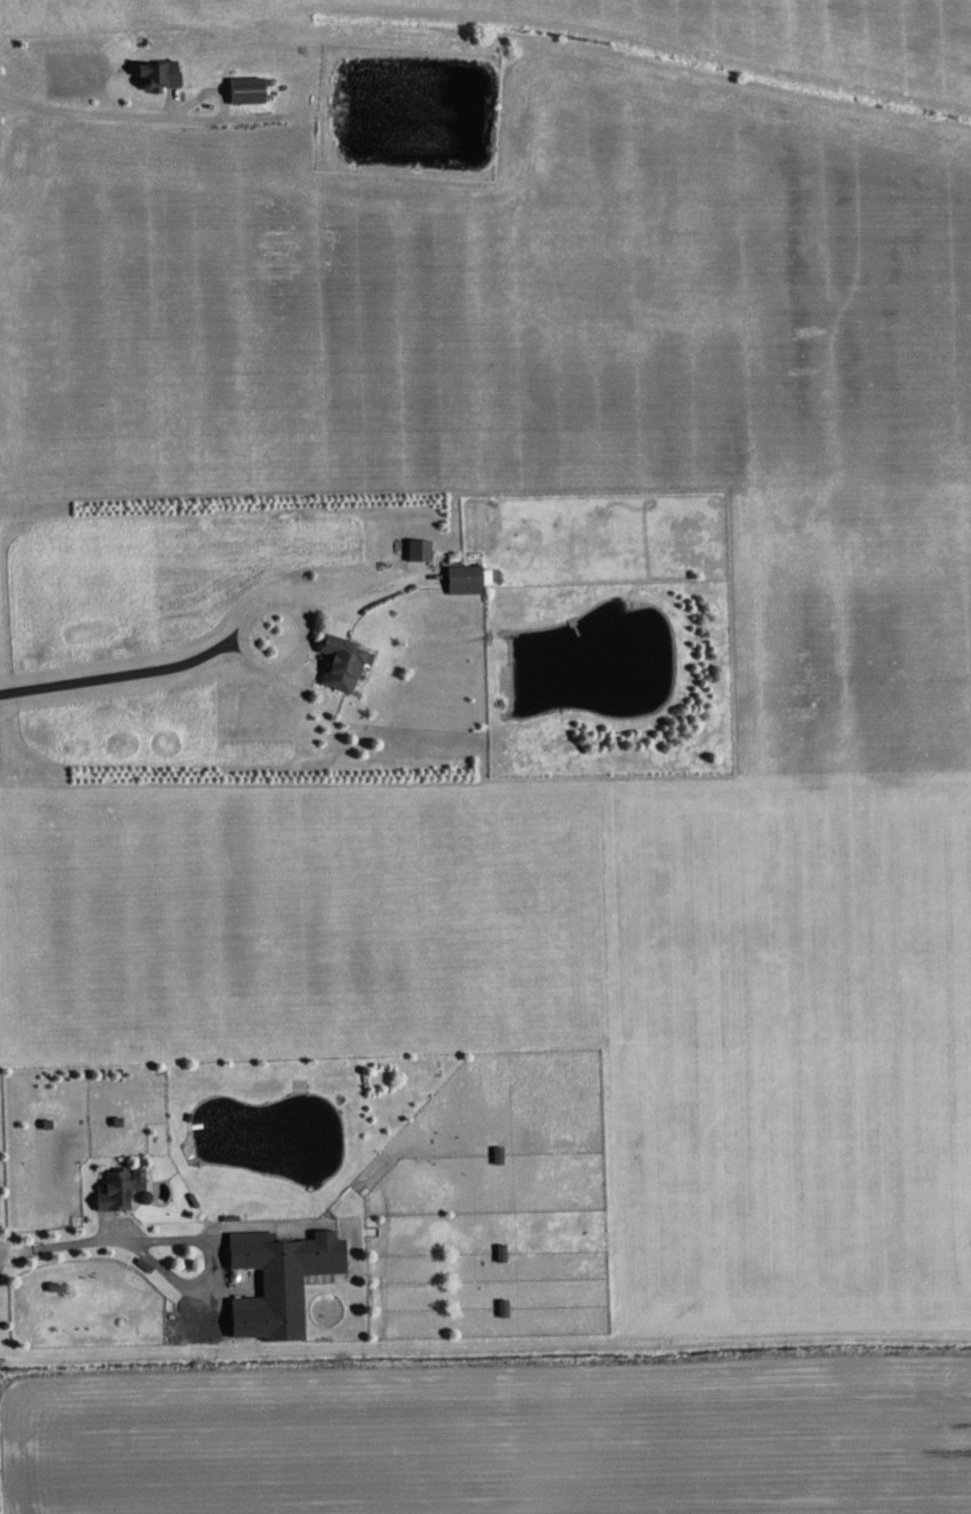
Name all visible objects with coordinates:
building: (156, 75)
building: (244, 90)
road: (85, 110)
building: (417, 549)
building: (464, 579)
building: (340, 663)
road: (119, 671)
building: (495, 1155)
building: (117, 1188)
road: (58, 1229)
road: (201, 1253)
building: (278, 1281)
crop: (503, 1440)

